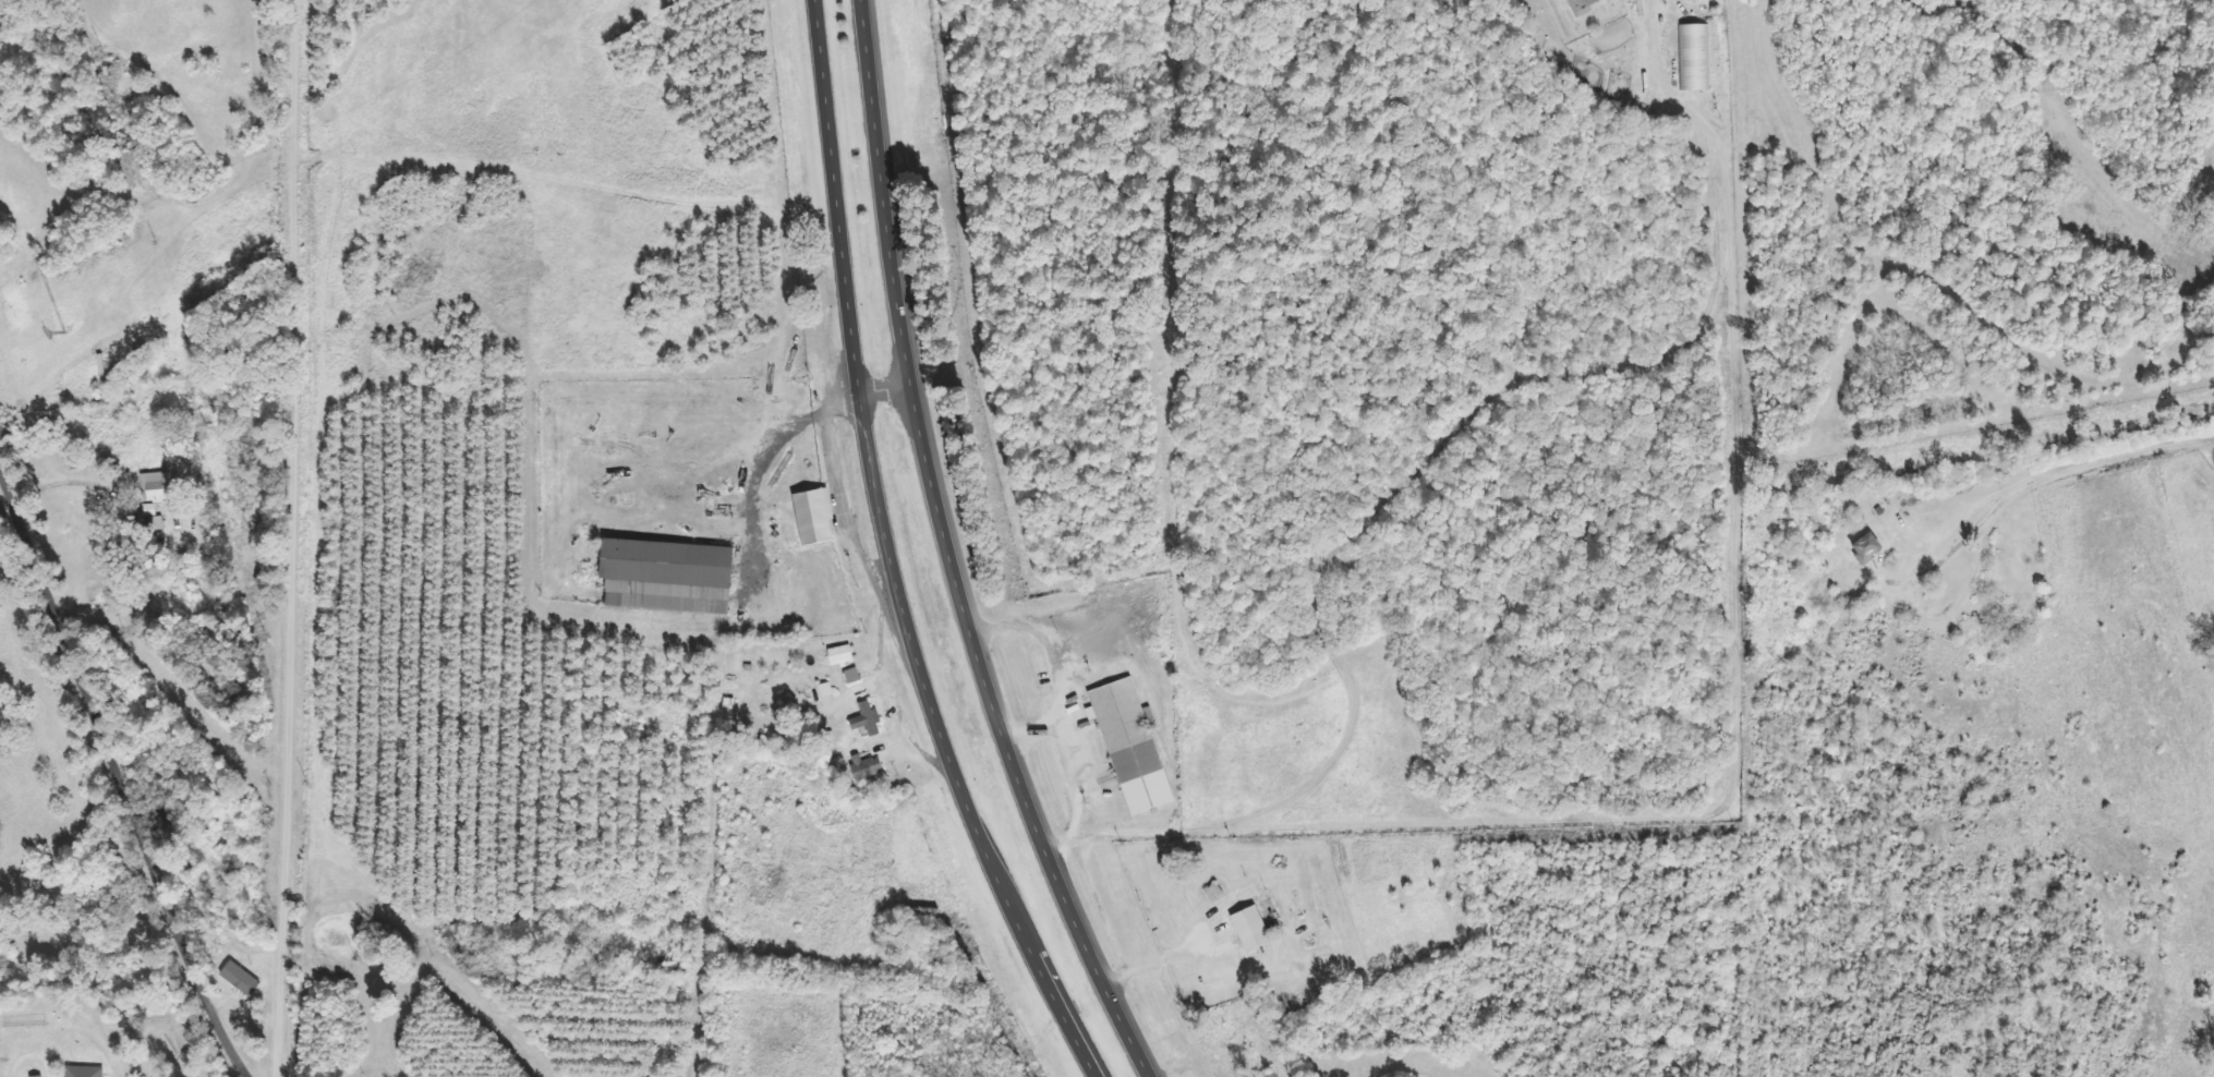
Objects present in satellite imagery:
building: (1582, 5)
building: (1694, 59)
power tower: (62, 335)
road: (884, 392)
road: (62, 485)
building: (157, 488)
building: (814, 519)
road: (292, 538)
building: (1868, 549)
road: (947, 554)
road: (887, 556)
building: (668, 578)
building: (840, 656)
building: (852, 677)
building: (824, 692)
building: (868, 721)
building: (1132, 748)
road: (118, 776)
building: (1251, 930)
building: (241, 980)
building: (85, 1073)
building: (1271, 1075)

